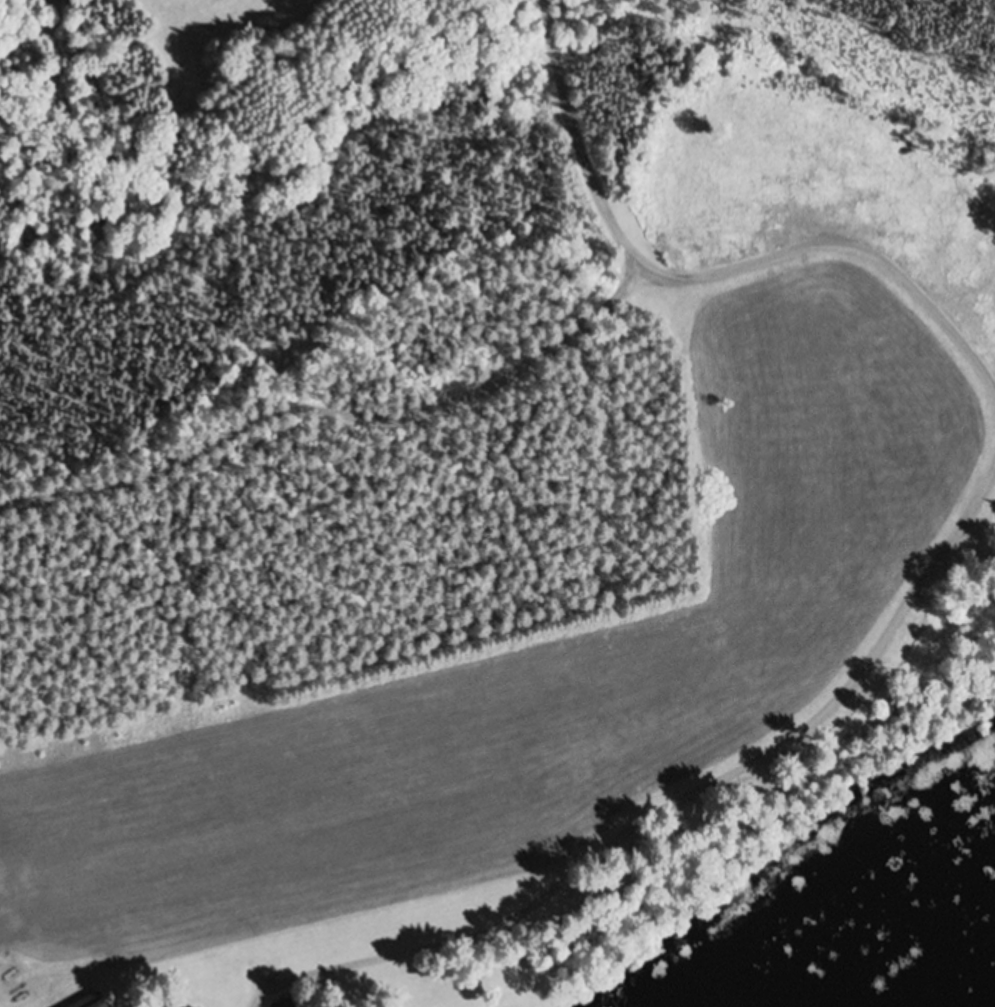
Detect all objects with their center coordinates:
road: (712, 274)
road: (672, 804)
building: (88, 1002)
building: (286, 1004)

